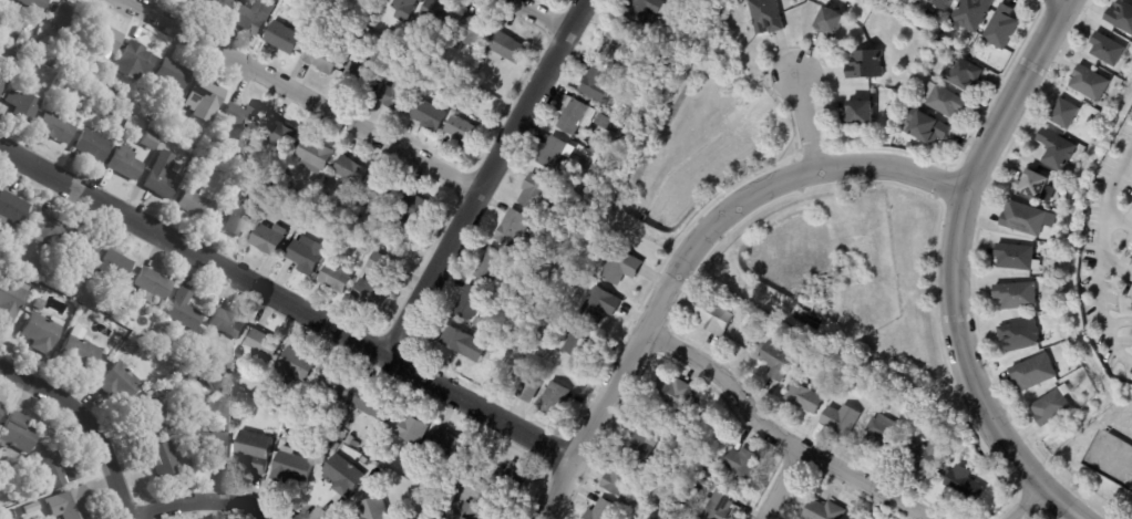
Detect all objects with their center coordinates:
building: (187, 0)
building: (421, 0)
road: (1064, 0)
building: (35, 4)
building: (943, 4)
building: (217, 6)
building: (405, 9)
building: (438, 11)
building: (644, 11)
building: (973, 14)
road: (534, 15)
building: (768, 15)
building: (1122, 15)
building: (66, 18)
building: (833, 18)
building: (253, 19)
building: (1001, 27)
building: (358, 28)
building: (472, 32)
building: (391, 34)
building: (104, 37)
building: (282, 38)
building: (410, 40)
building: (618, 45)
building: (510, 48)
building: (692, 49)
building: (1109, 49)
building: (40, 50)
building: (322, 55)
building: (16, 60)
building: (135, 61)
building: (867, 64)
building: (965, 73)
building: (7, 74)
building: (173, 74)
building: (360, 79)
building: (597, 82)
building: (1091, 83)
building: (62, 84)
building: (1, 85)
building: (95, 86)
building: (109, 91)
building: (874, 91)
road: (298, 95)
building: (397, 95)
building: (22, 100)
building: (205, 100)
building: (948, 101)
building: (861, 113)
building: (1066, 114)
building: (429, 115)
building: (243, 116)
building: (580, 116)
building: (155, 117)
building: (1092, 121)
road: (802, 124)
building: (56, 127)
building: (929, 128)
building: (465, 129)
building: (157, 133)
building: (280, 134)
building: (147, 139)
building: (155, 143)
building: (92, 146)
building: (913, 146)
building: (920, 148)
building: (1058, 149)
building: (315, 154)
building: (556, 155)
building: (105, 162)
building: (125, 164)
building: (350, 173)
road: (483, 176)
building: (163, 184)
building: (576, 185)
building: (1039, 186)
building: (535, 191)
building: (382, 197)
building: (197, 205)
building: (12, 208)
building: (418, 210)
building: (239, 216)
road: (1119, 218)
building: (1027, 219)
building: (10, 229)
building: (47, 229)
building: (514, 229)
building: (269, 239)
building: (388, 243)
building: (86, 247)
road: (686, 248)
building: (364, 250)
building: (306, 255)
building: (1017, 257)
road: (1099, 257)
building: (381, 263)
road: (1115, 266)
building: (492, 267)
building: (622, 267)
building: (114, 268)
road: (951, 273)
building: (336, 278)
building: (152, 286)
building: (515, 294)
building: (370, 297)
building: (1017, 297)
building: (11, 299)
road: (285, 299)
building: (471, 303)
building: (601, 304)
building: (39, 305)
building: (107, 311)
building: (184, 311)
building: (714, 316)
building: (496, 318)
building: (749, 320)
building: (228, 324)
building: (42, 332)
building: (122, 333)
building: (1020, 335)
building: (697, 340)
building: (582, 342)
building: (466, 344)
building: (264, 346)
building: (141, 351)
building: (79, 352)
building: (812, 356)
building: (779, 361)
building: (210, 364)
building: (297, 366)
building: (231, 371)
building: (1035, 373)
building: (119, 383)
building: (337, 384)
building: (168, 387)
building: (150, 393)
building: (529, 393)
building: (673, 393)
building: (296, 398)
building: (805, 398)
building: (556, 401)
building: (374, 403)
building: (1054, 406)
building: (1, 409)
building: (155, 419)
building: (842, 419)
road: (90, 421)
building: (409, 428)
building: (17, 433)
building: (886, 435)
building: (329, 438)
road: (774, 438)
building: (350, 440)
building: (446, 445)
building: (640, 445)
building: (335, 446)
building: (212, 447)
building: (255, 451)
building: (923, 458)
building: (384, 459)
building: (162, 460)
building: (743, 463)
building: (711, 465)
building: (661, 466)
building: (291, 467)
building: (55, 473)
building: (343, 476)
building: (513, 476)
building: (654, 477)
building: (620, 478)
road: (778, 486)
building: (965, 488)
road: (205, 497)
building: (18, 499)
road: (455, 501)
building: (428, 504)
road: (1023, 504)
building: (68, 505)
building: (719, 505)
building: (682, 506)
building: (30, 509)
building: (377, 510)
building: (601, 510)
building: (688, 510)
building: (824, 510)
building: (480, 513)
building: (11, 515)

